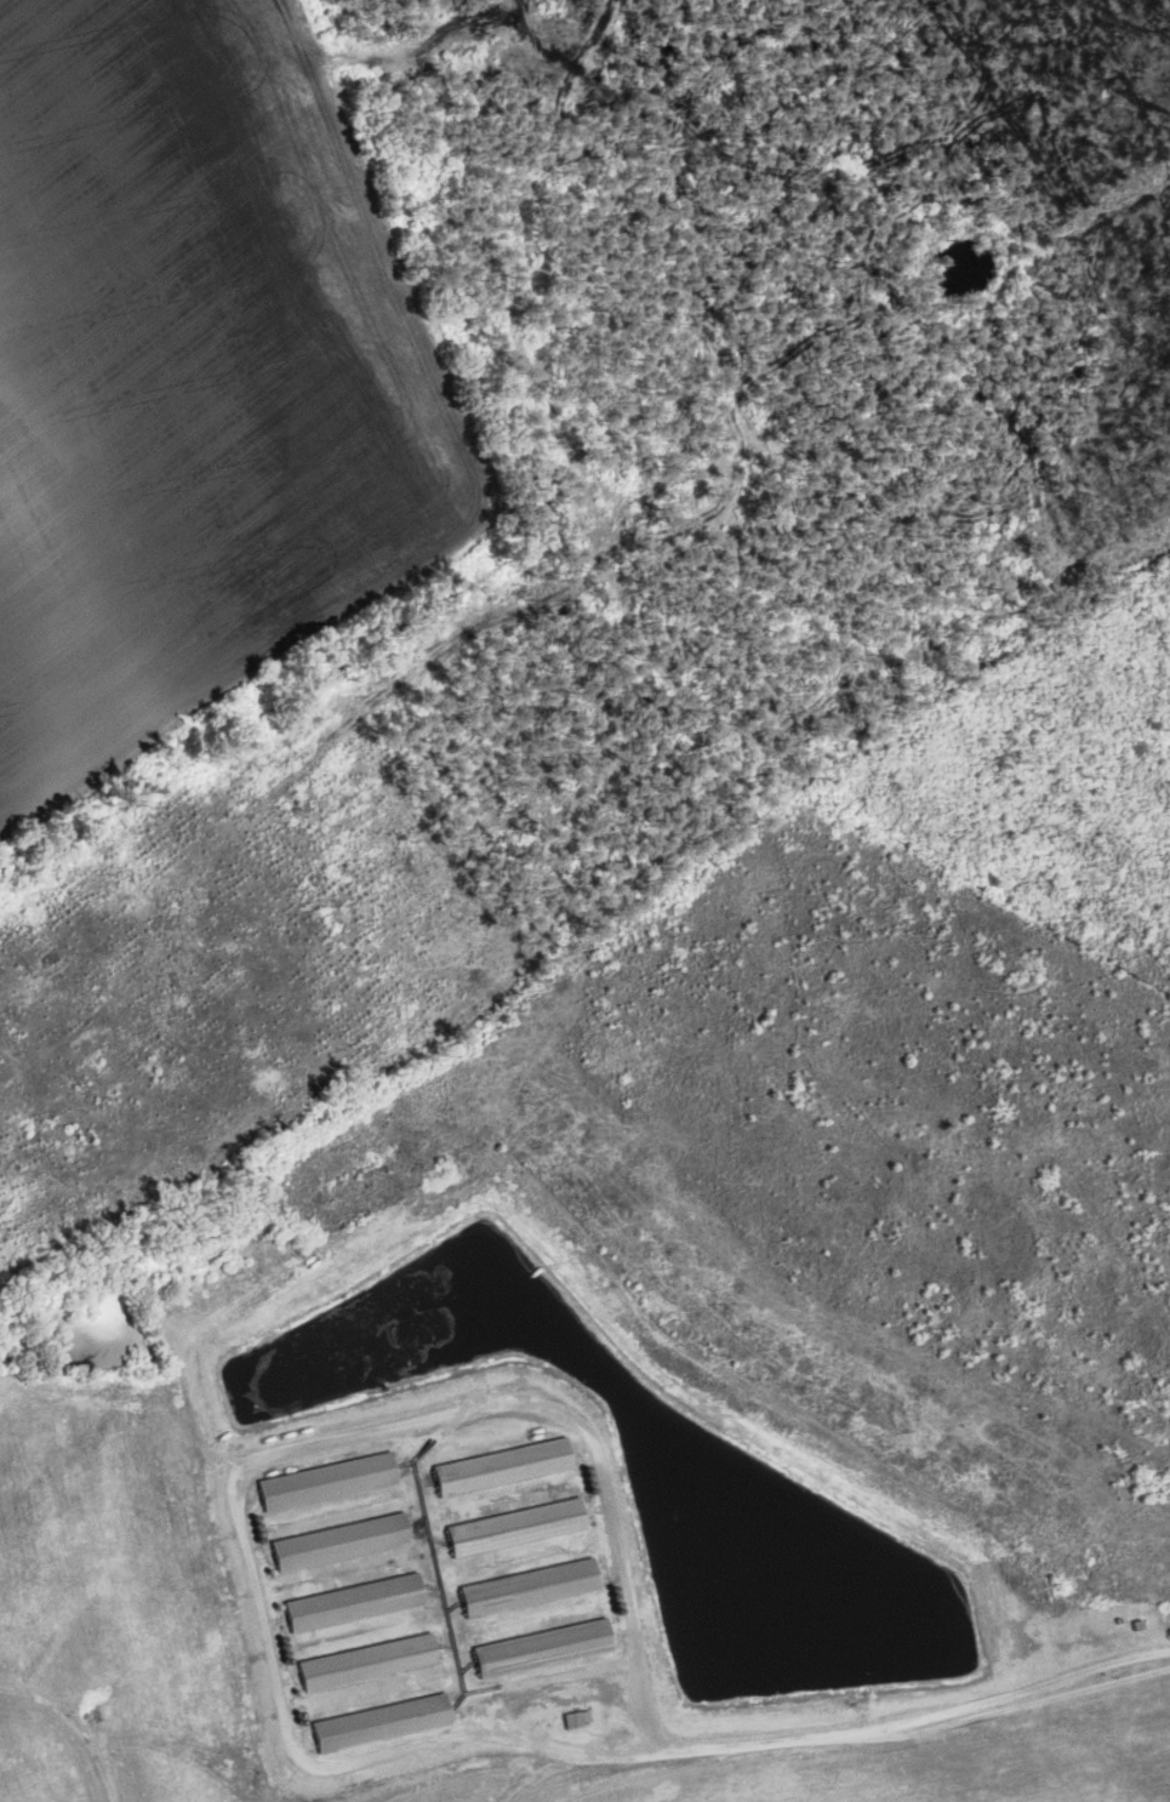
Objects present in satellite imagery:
road: (255, 1462)
building: (503, 1466)
building: (327, 1481)
building: (518, 1527)
building: (341, 1541)
building: (531, 1587)
building: (355, 1602)
building: (543, 1647)
building: (369, 1663)
road: (914, 1713)
building: (573, 1721)
building: (382, 1722)
road: (74, 1726)
road: (546, 1775)

